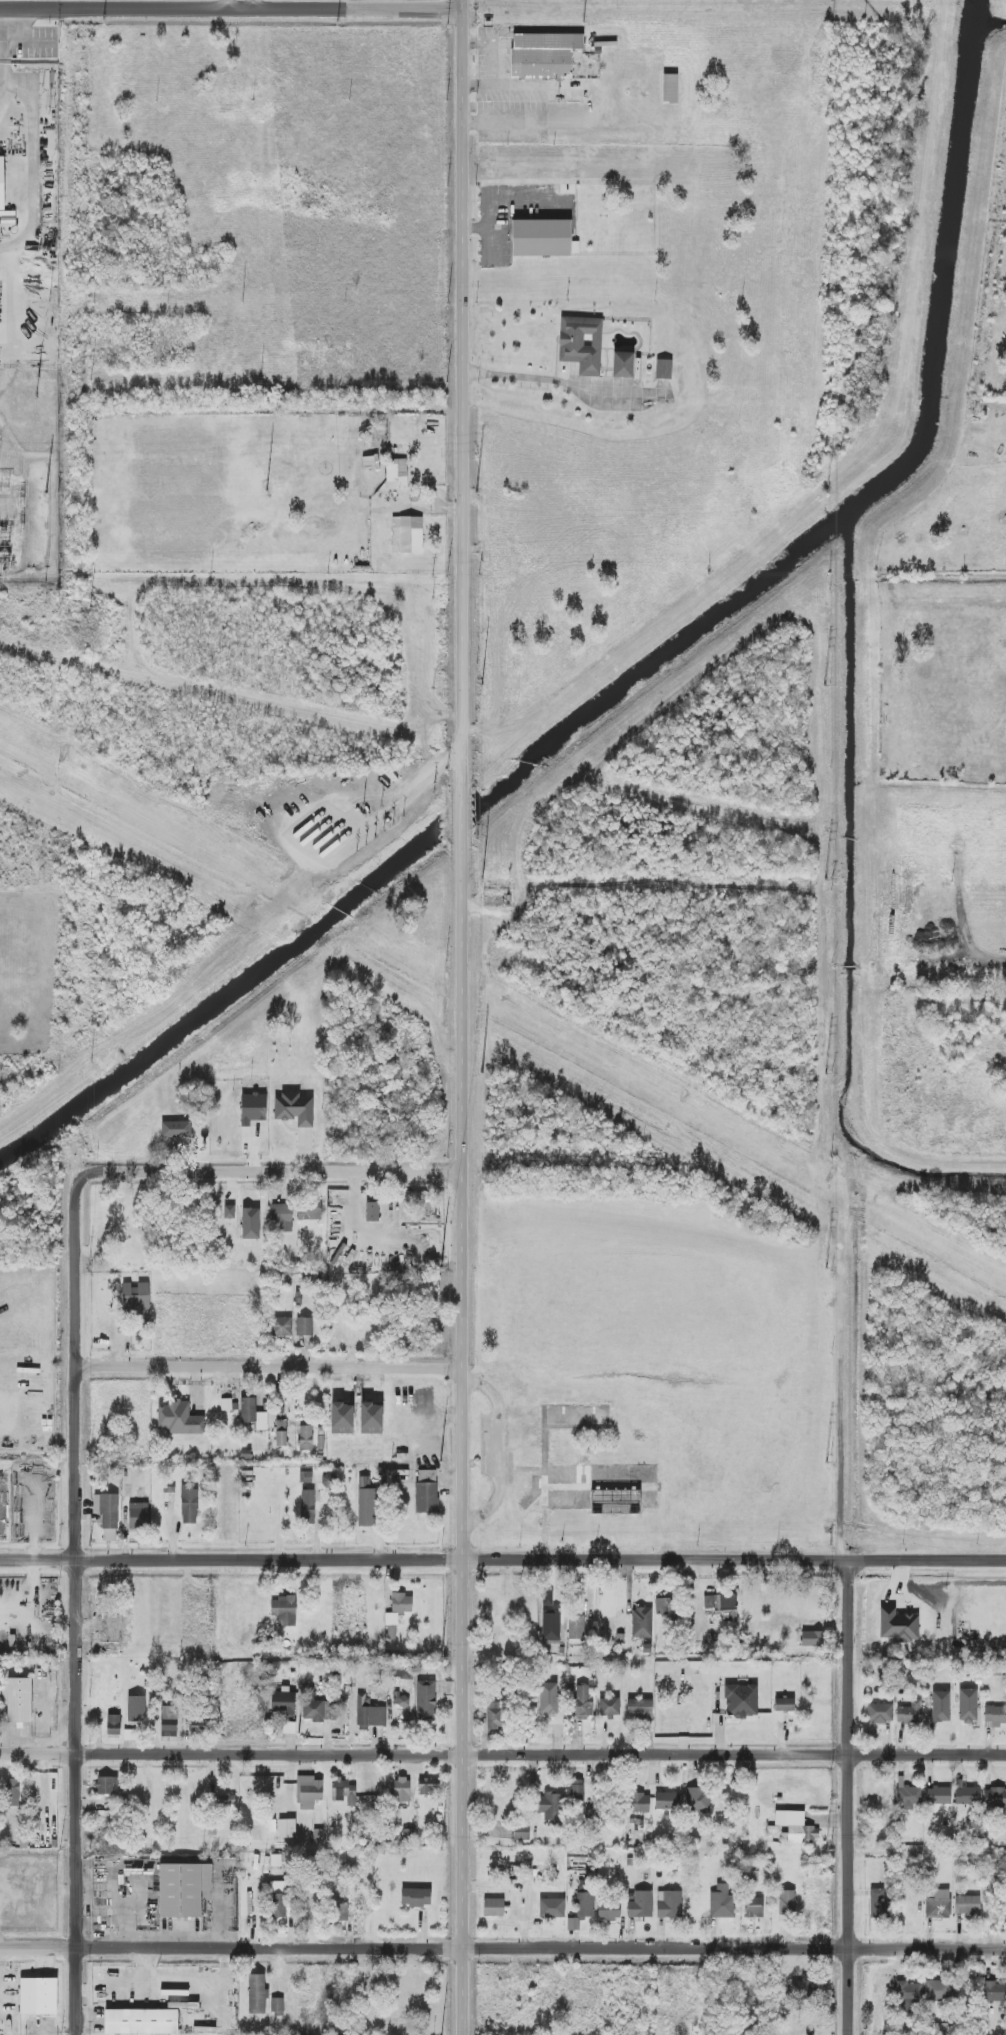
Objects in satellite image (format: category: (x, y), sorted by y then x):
road: (252, 4)
road: (231, 8)
road: (1, 34)
road: (0, 40)
building: (543, 55)
road: (0, 64)
building: (670, 88)
building: (2, 182)
road: (500, 200)
road: (33, 209)
building: (541, 237)
road: (490, 243)
power tower: (827, 298)
building: (581, 344)
building: (623, 364)
building: (663, 369)
road: (555, 381)
road: (463, 394)
building: (370, 462)
building: (396, 473)
power substation: (29, 475)
power tower: (827, 493)
building: (407, 535)
power tower: (825, 685)
road: (462, 815)
power tower: (825, 880)
power tower: (826, 1075)
building: (252, 1108)
building: (294, 1109)
building: (176, 1129)
road: (268, 1173)
building: (309, 1209)
building: (229, 1211)
building: (372, 1211)
building: (282, 1218)
building: (250, 1223)
power tower: (826, 1269)
road: (464, 1296)
building: (135, 1297)
building: (281, 1326)
building: (304, 1326)
road: (271, 1370)
building: (252, 1414)
building: (179, 1419)
building: (281, 1433)
building: (305, 1438)
power tower: (829, 1465)
road: (77, 1470)
building: (427, 1491)
building: (189, 1504)
building: (307, 1506)
building: (367, 1507)
building: (108, 1515)
building: (138, 1516)
road: (502, 1559)
building: (611, 1598)
building: (549, 1600)
building: (402, 1603)
building: (663, 1606)
building: (722, 1606)
building: (283, 1611)
building: (391, 1619)
building: (642, 1622)
building: (898, 1625)
building: (576, 1627)
building: (106, 1635)
building: (809, 1638)
building: (402, 1672)
building: (548, 1698)
building: (426, 1699)
building: (19, 1700)
building: (741, 1700)
building: (403, 1701)
building: (283, 1702)
building: (582, 1703)
building: (784, 1704)
building: (967, 1705)
building: (940, 1706)
building: (609, 1707)
building: (136, 1708)
building: (639, 1708)
building: (314, 1711)
building: (879, 1712)
building: (910, 1712)
building: (370, 1714)
building: (495, 1715)
building: (994, 1716)
building: (169, 1721)
building: (113, 1725)
building: (198, 1726)
road: (502, 1753)
building: (106, 1785)
building: (428, 1787)
building: (402, 1789)
building: (577, 1790)
building: (343, 1791)
building: (12, 1792)
building: (309, 1792)
building: (938, 1795)
building: (967, 1795)
road: (849, 1797)
building: (909, 1797)
building: (995, 1797)
building: (698, 1799)
building: (667, 1800)
building: (224, 1801)
building: (640, 1803)
building: (598, 1804)
building: (551, 1806)
building: (795, 1827)
building: (291, 1828)
building: (521, 1833)
power tower: (826, 1851)
road: (928, 1853)
building: (183, 1889)
road: (76, 1893)
road: (464, 1894)
building: (416, 1897)
building: (278, 1899)
building: (722, 1902)
building: (786, 1902)
building: (669, 1904)
building: (879, 1904)
building: (585, 1905)
building: (640, 1905)
building: (938, 1905)
building: (968, 1906)
building: (493, 1907)
building: (754, 1907)
building: (552, 1908)
building: (609, 1910)
building: (341, 1912)
building: (573, 1923)
road: (503, 1948)
building: (801, 1986)
building: (938, 1990)
building: (994, 1992)
building: (257, 1993)
building: (38, 1996)
building: (908, 1996)
building: (277, 2005)
building: (141, 2021)

